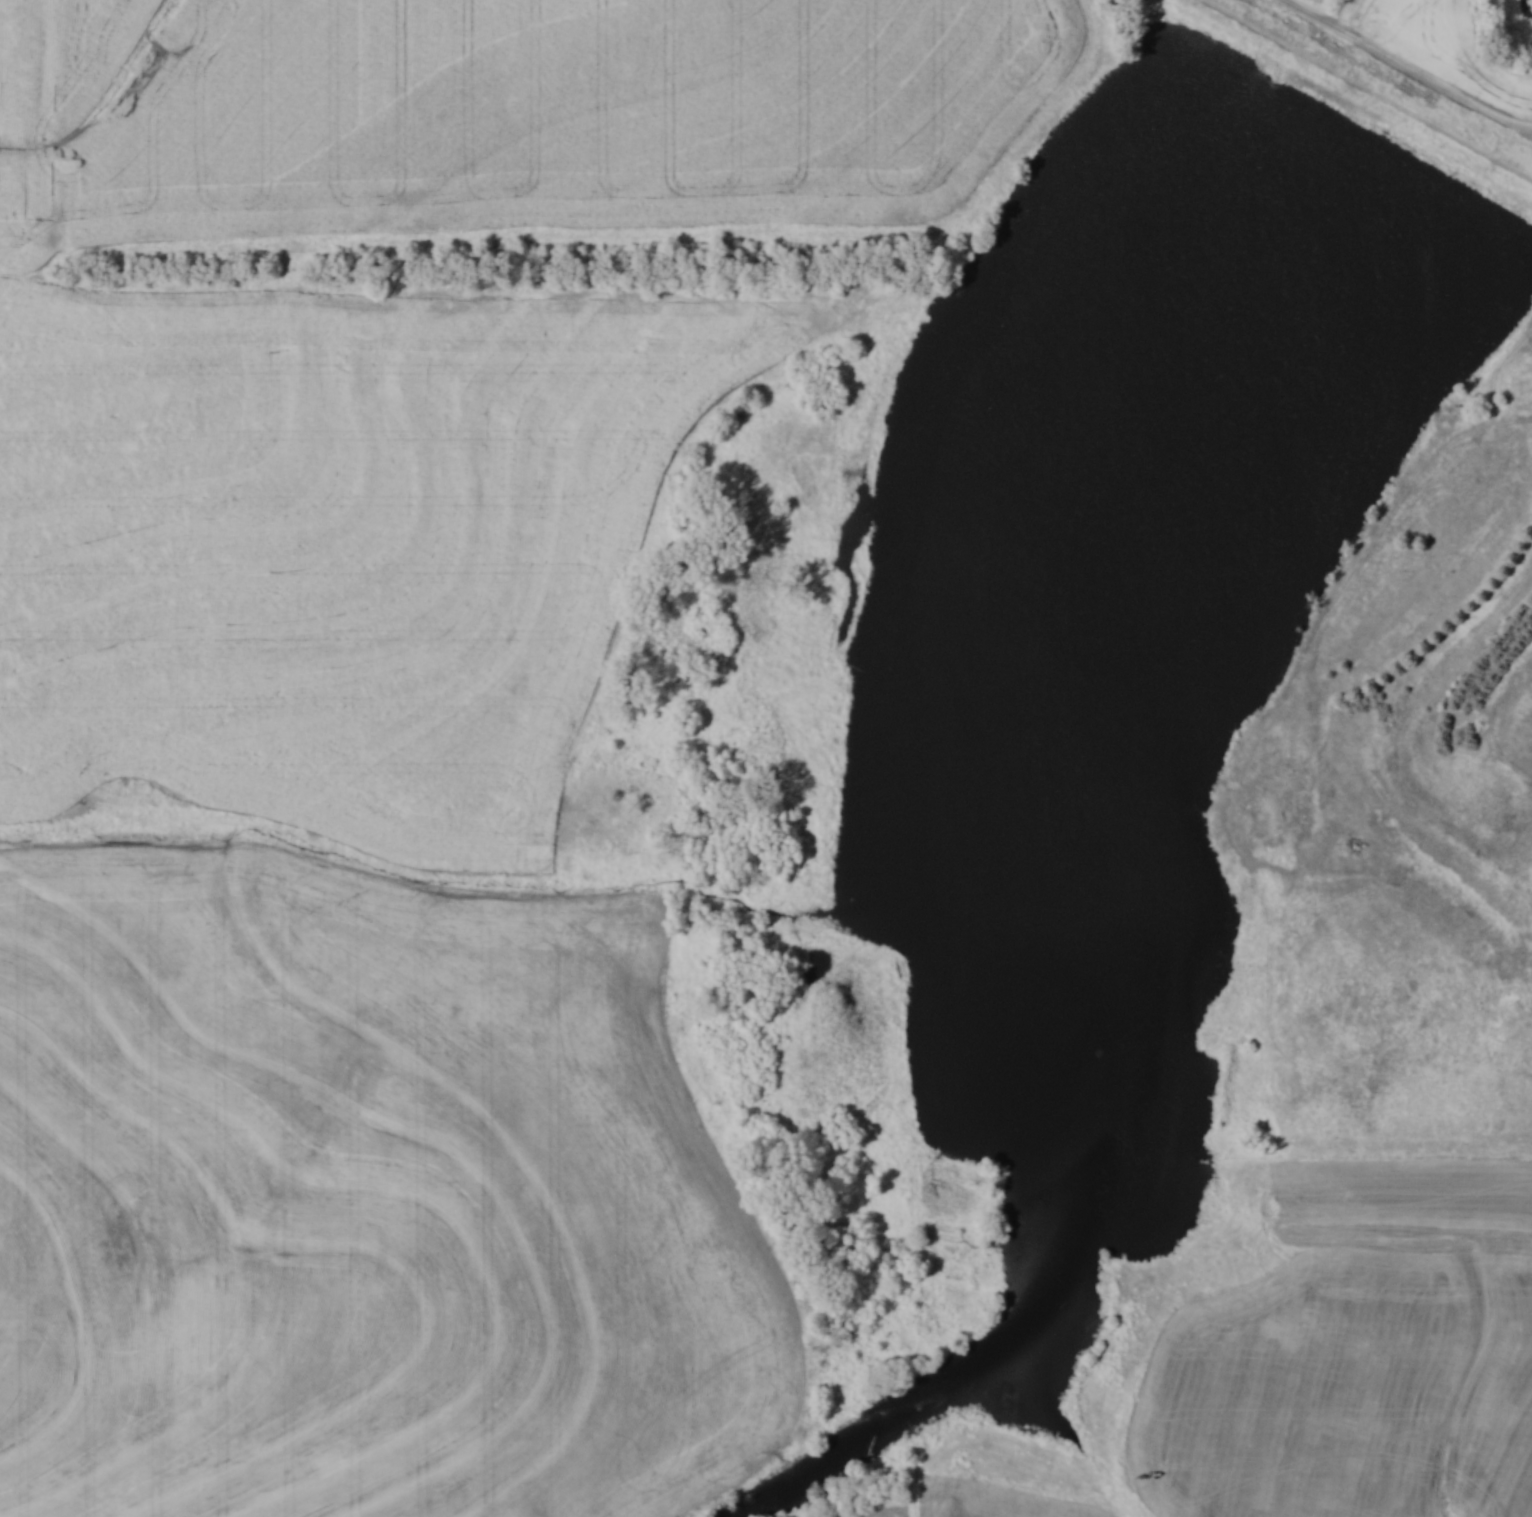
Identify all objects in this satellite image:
dam: (1367, 87)

